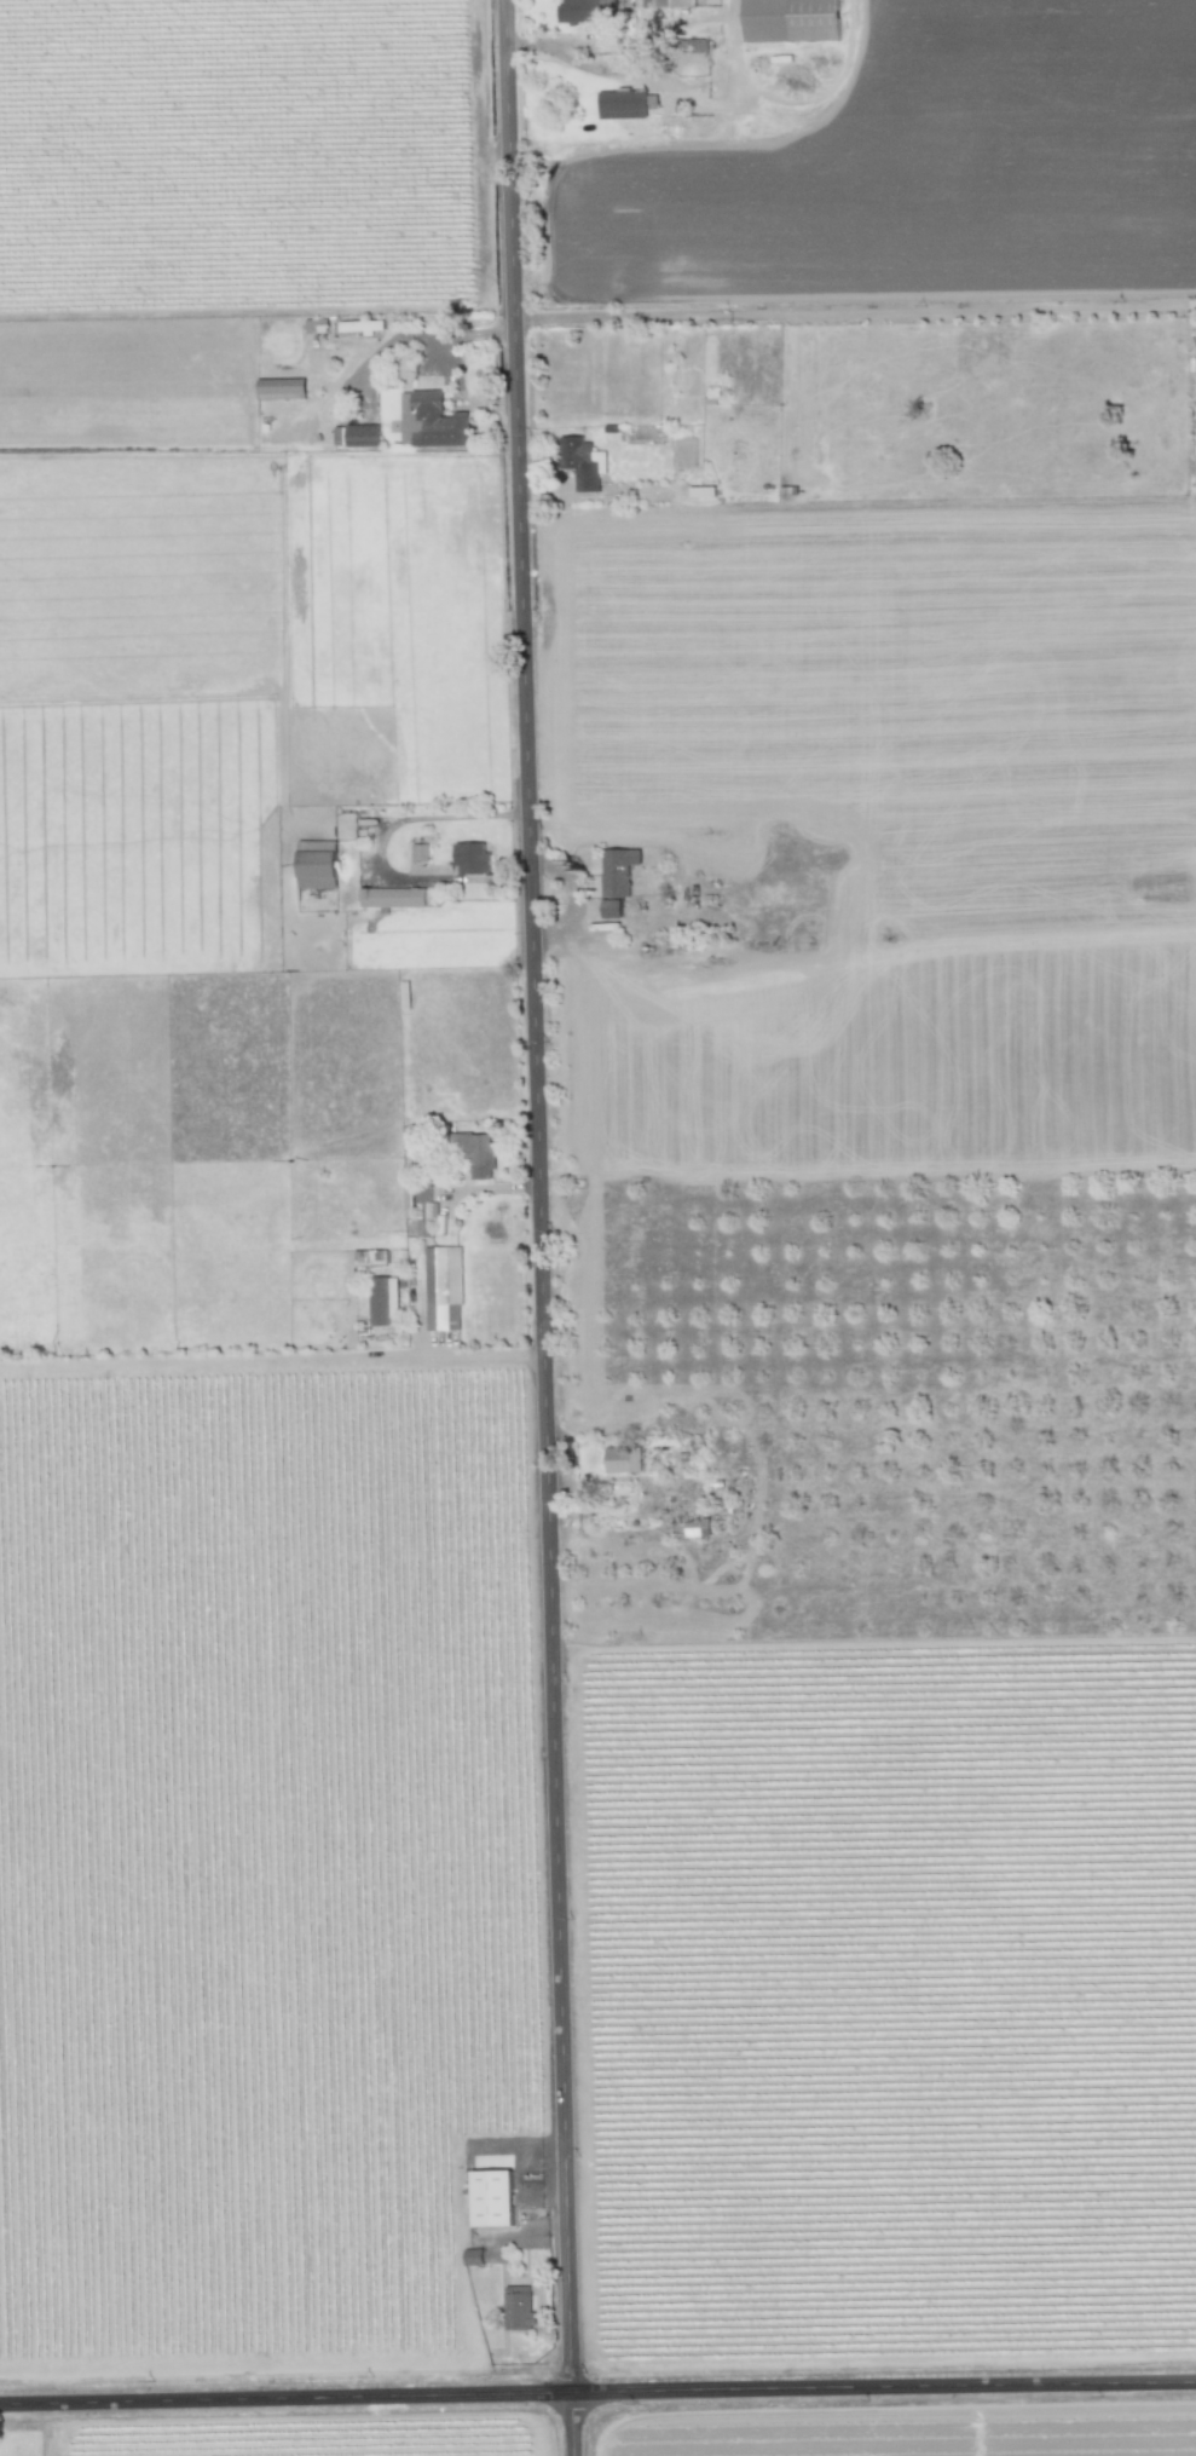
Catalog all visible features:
building: (670, 4)
building: (589, 11)
building: (790, 21)
road: (630, 63)
building: (622, 104)
road: (855, 315)
building: (360, 327)
road: (462, 335)
building: (281, 388)
building: (431, 421)
building: (360, 436)
building: (582, 462)
building: (420, 853)
building: (472, 859)
building: (316, 865)
building: (616, 880)
building: (392, 898)
building: (474, 1153)
building: (423, 1194)
road: (541, 1227)
building: (369, 1257)
building: (441, 1285)
building: (382, 1301)
road: (272, 1357)
building: (623, 1460)
road: (601, 1512)
building: (697, 1528)
building: (492, 2198)
building: (518, 2308)
road: (597, 2396)

